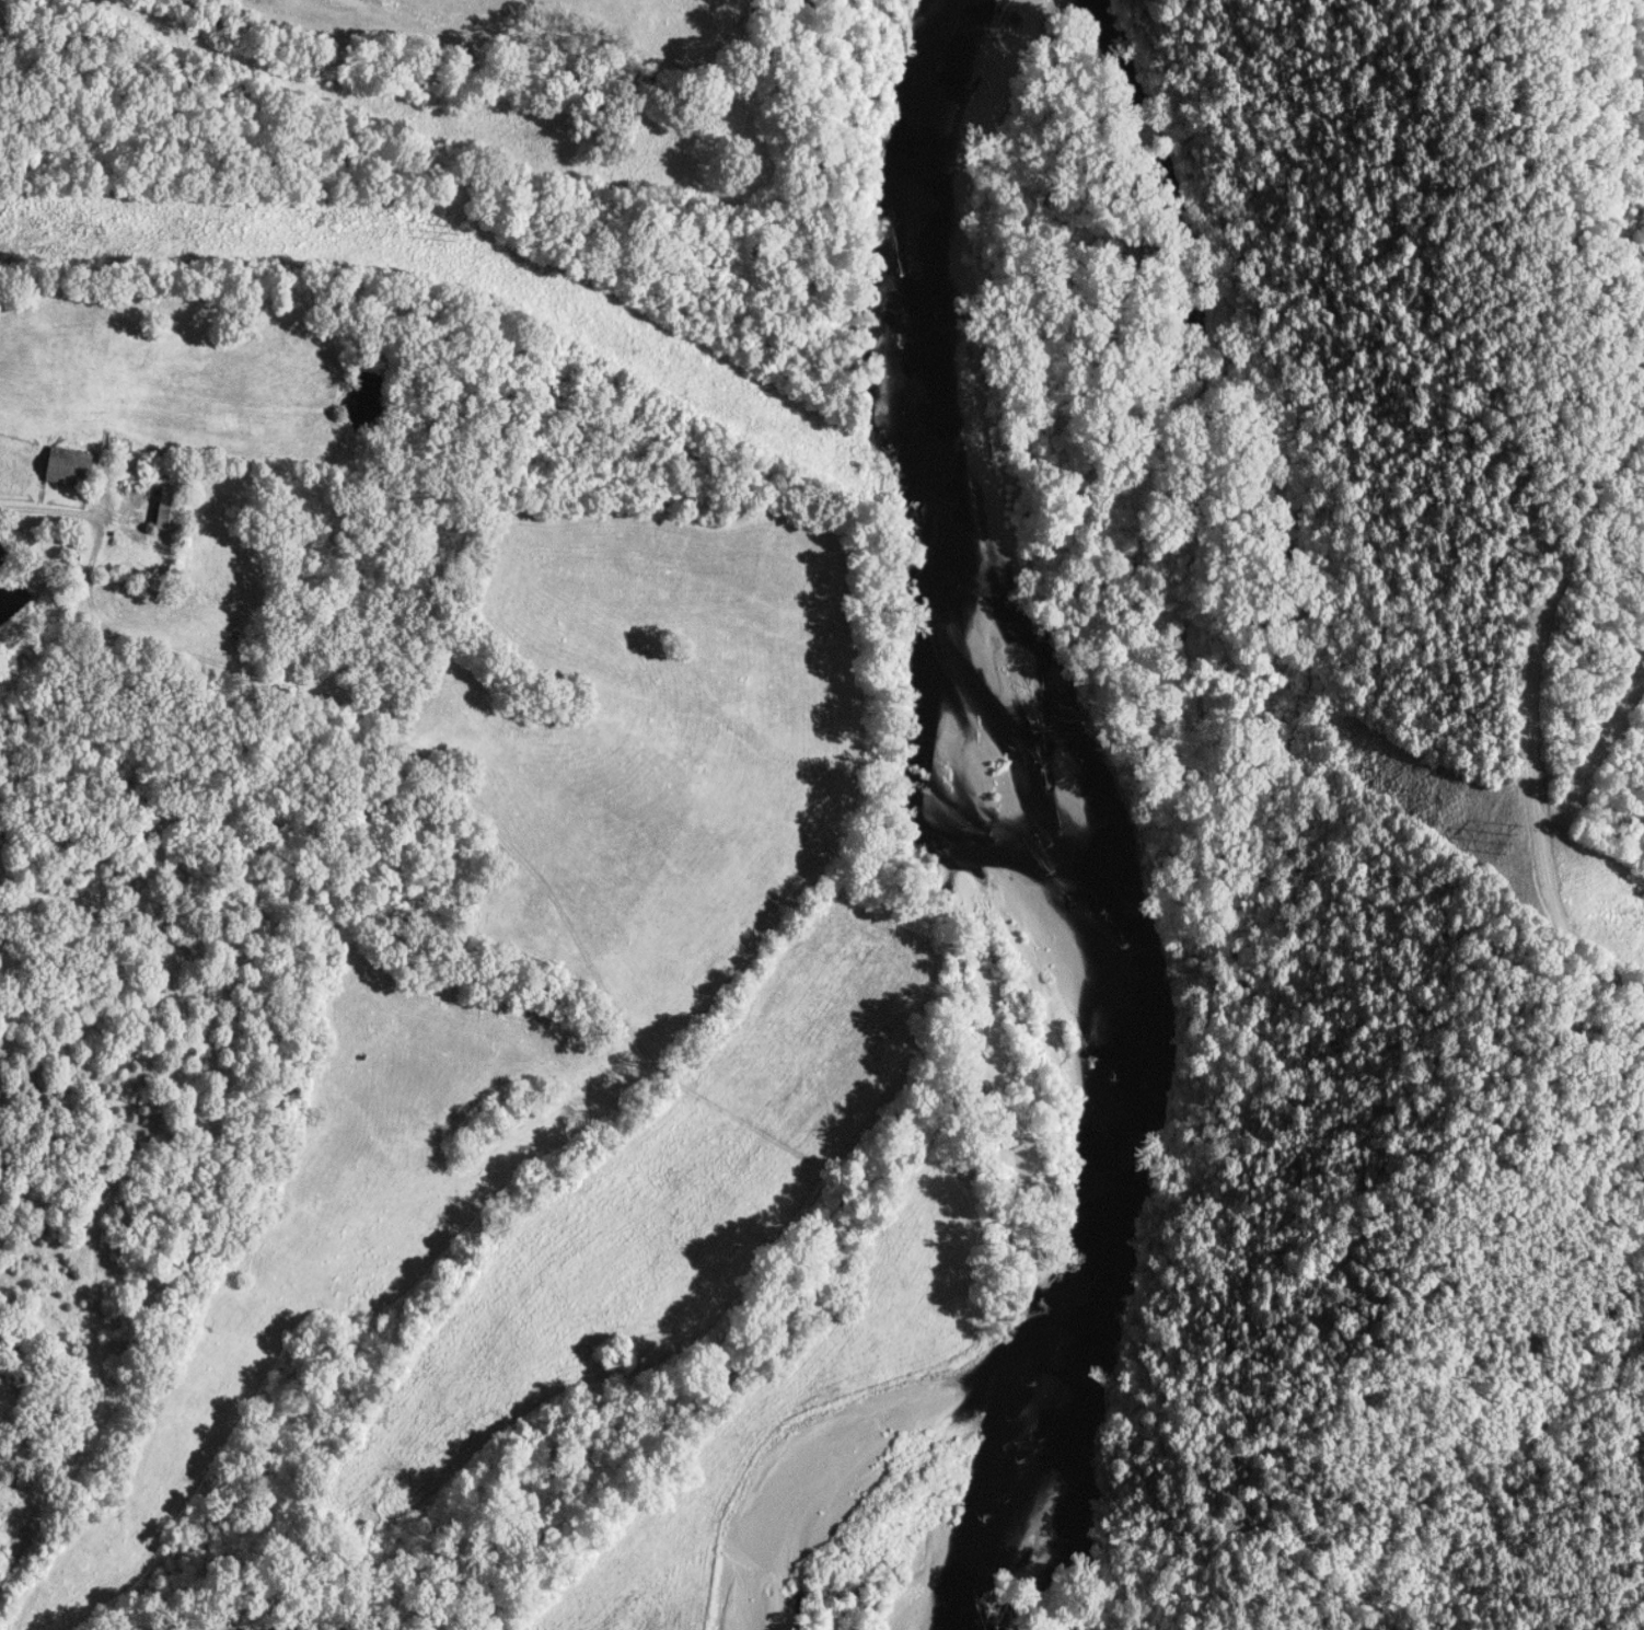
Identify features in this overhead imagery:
building: (70, 466)
building: (172, 509)
road: (43, 513)
road: (1544, 740)
river: (987, 901)

